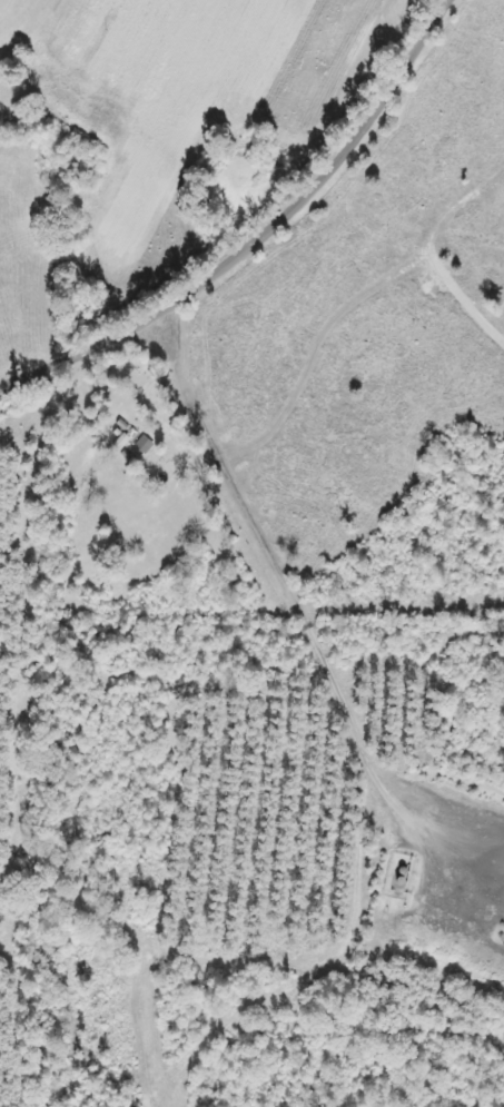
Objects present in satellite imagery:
road: (251, 219)
road: (51, 643)

